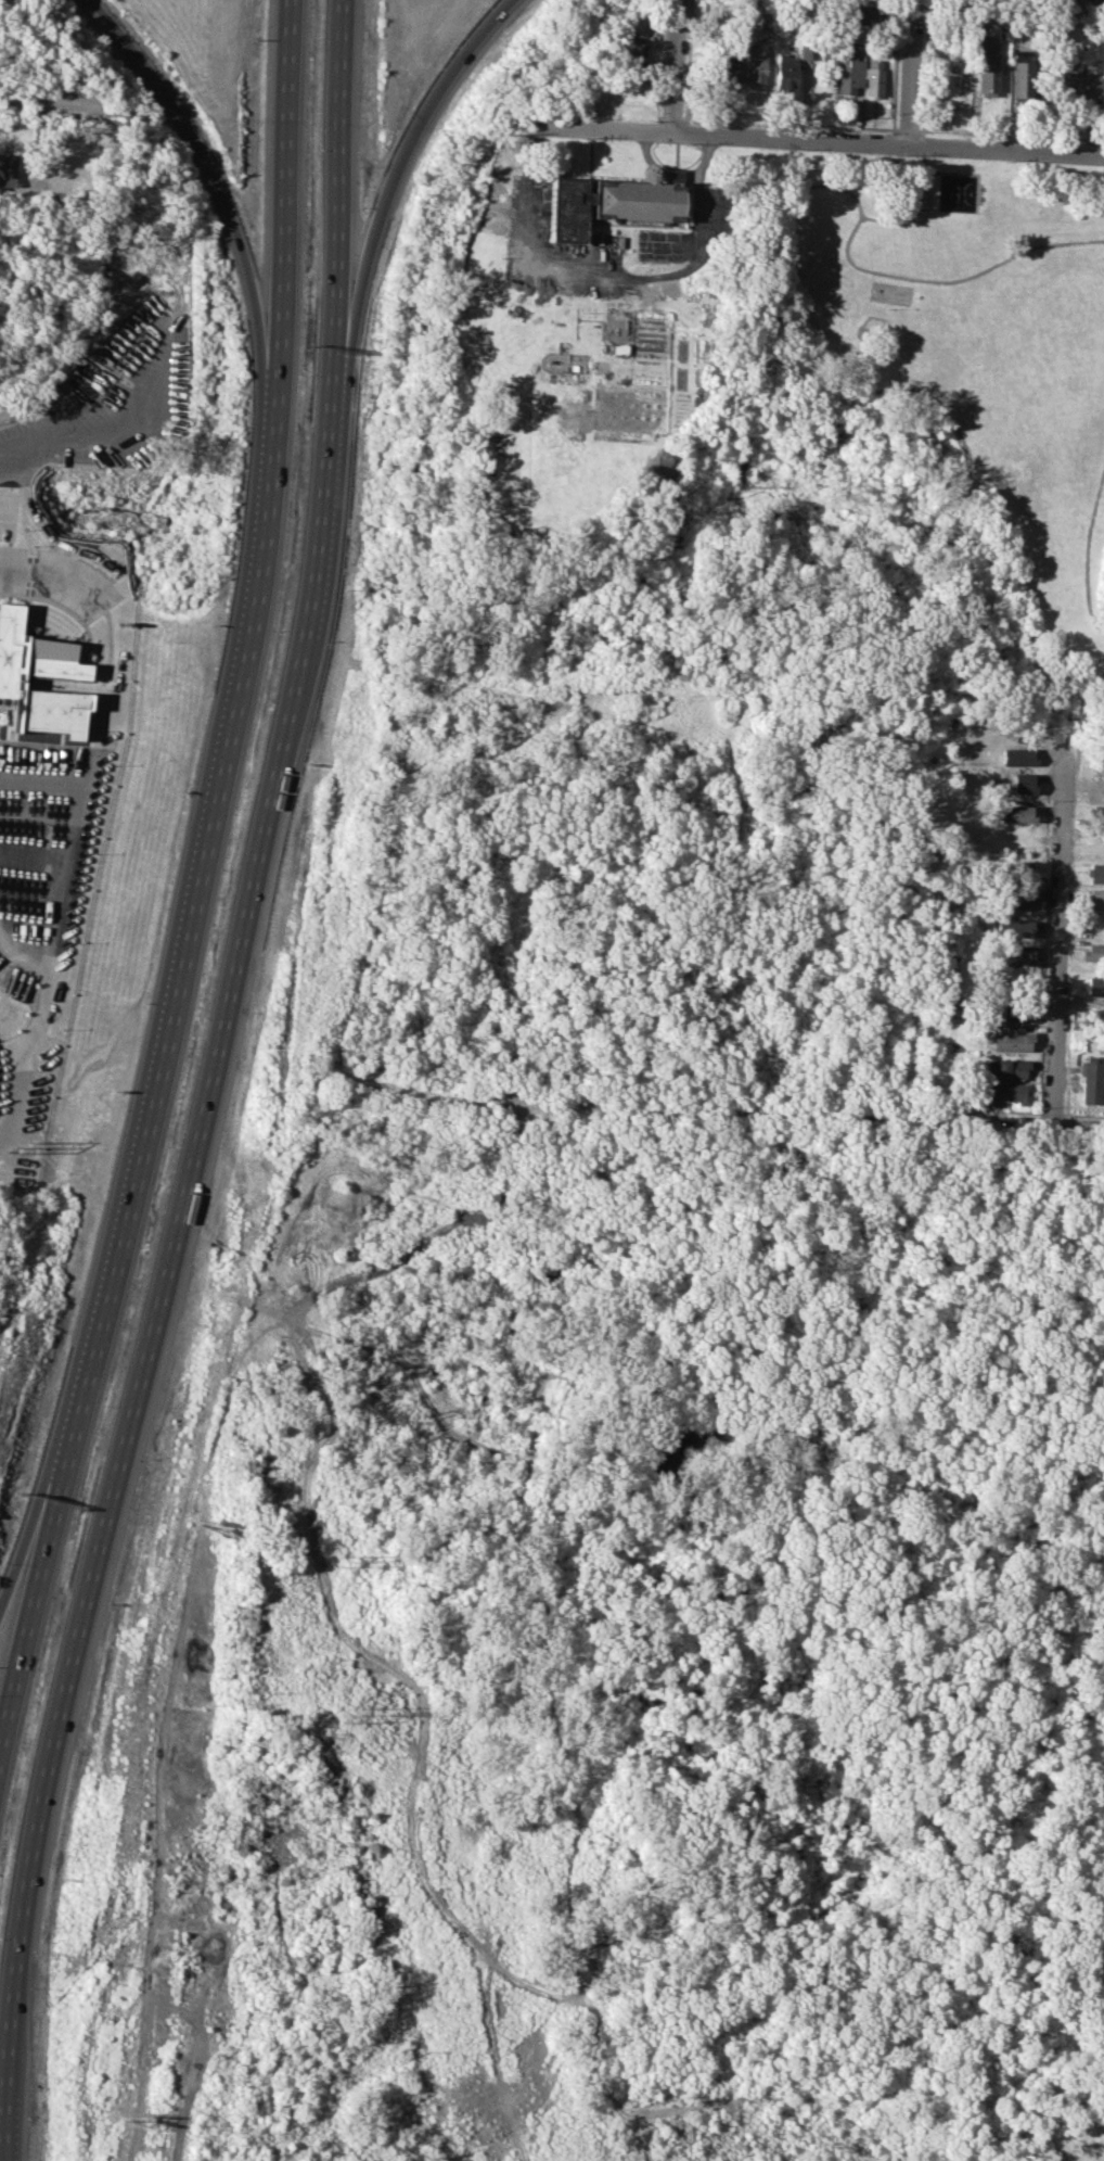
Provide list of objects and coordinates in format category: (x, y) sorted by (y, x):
building: (1092, 3)
building: (860, 14)
building: (765, 20)
building: (630, 47)
building: (806, 51)
road: (673, 65)
building: (755, 67)
building: (728, 69)
building: (849, 71)
building: (785, 72)
road: (909, 72)
building: (1022, 75)
building: (987, 76)
building: (874, 77)
building: (1079, 86)
road: (48, 98)
road: (820, 139)
building: (75, 164)
building: (8, 168)
road: (967, 173)
road: (394, 180)
road: (218, 186)
road: (845, 188)
road: (335, 194)
road: (285, 202)
building: (611, 202)
road: (626, 278)
road: (954, 281)
park: (891, 292)
road: (115, 429)
park: (917, 448)
road: (950, 548)
road: (1088, 552)
road: (52, 575)
building: (36, 654)
building: (40, 682)
road: (54, 734)
building: (1020, 757)
building: (1026, 783)
building: (1023, 813)
building: (1097, 873)
building: (1095, 897)
building: (1018, 900)
road: (191, 917)
building: (1015, 928)
road: (1061, 939)
building: (1095, 951)
building: (1018, 954)
building: (1095, 986)
building: (1014, 1013)
building: (1094, 1015)
road: (654, 1025)
building: (1012, 1041)
building: (1007, 1069)
building: (1091, 1080)
building: (1006, 1091)
road: (812, 1120)
power tower: (22, 1146)
road: (162, 1273)
road: (35, 1520)
power tower: (354, 1562)
road: (34, 1588)
power tower: (348, 1713)
power tower: (396, 1714)
road: (416, 1760)
road: (489, 2048)
road: (201, 2065)

